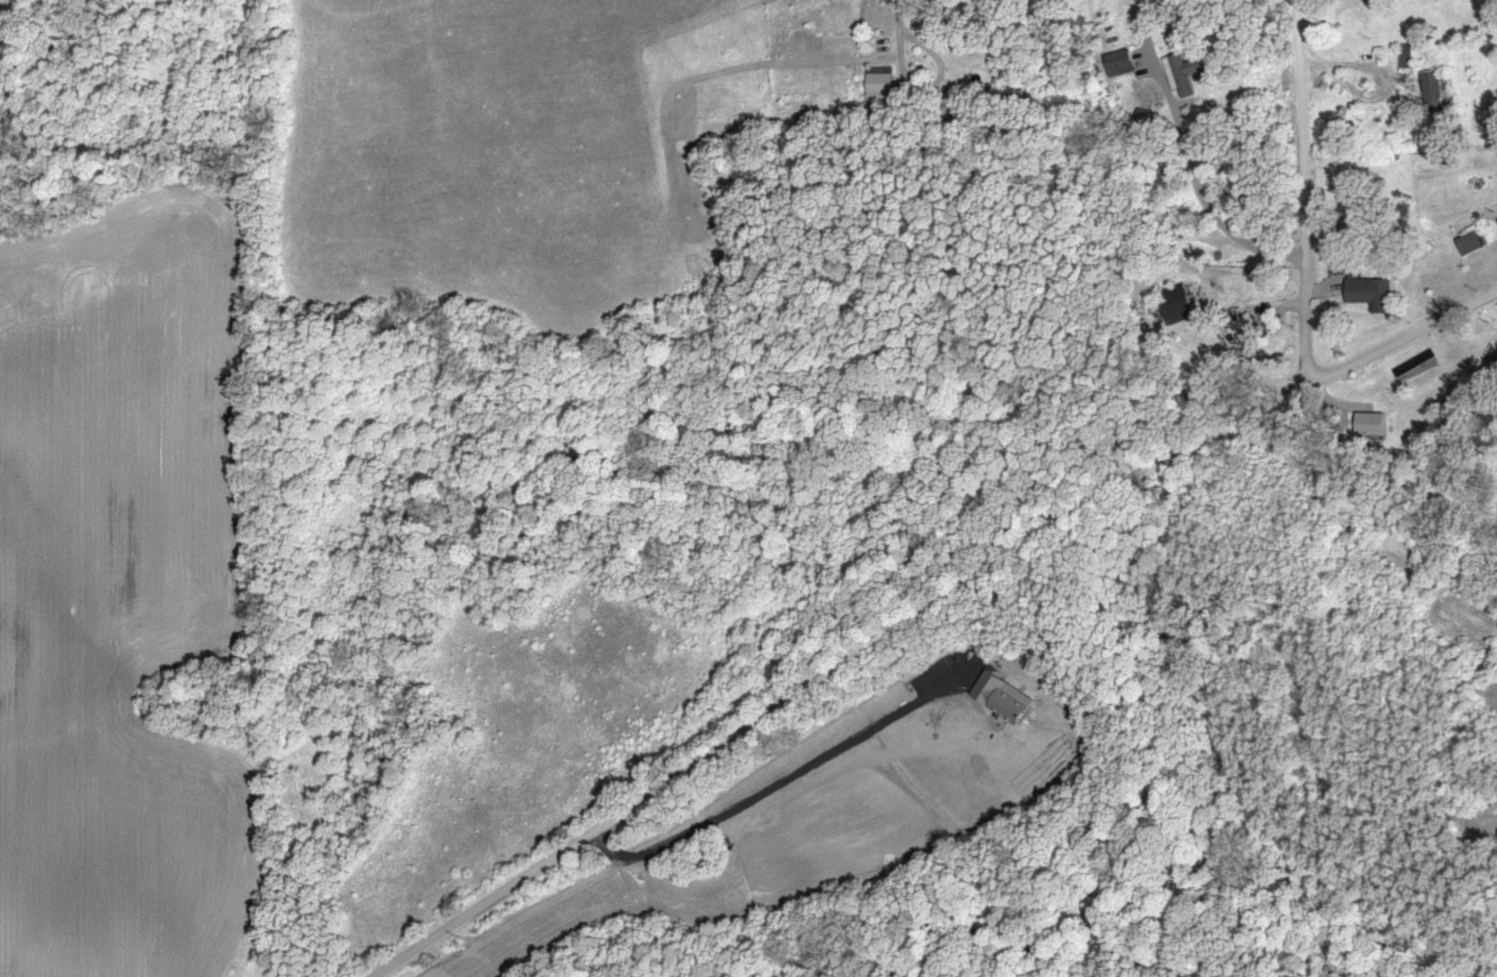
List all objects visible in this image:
road: (893, 24)
building: (1408, 57)
building: (1119, 69)
building: (1185, 75)
building: (882, 84)
building: (1436, 92)
road: (1301, 189)
road: (1201, 213)
building: (1474, 244)
building: (1373, 295)
building: (1179, 303)
building: (1248, 331)
building: (1373, 425)
road: (922, 610)

